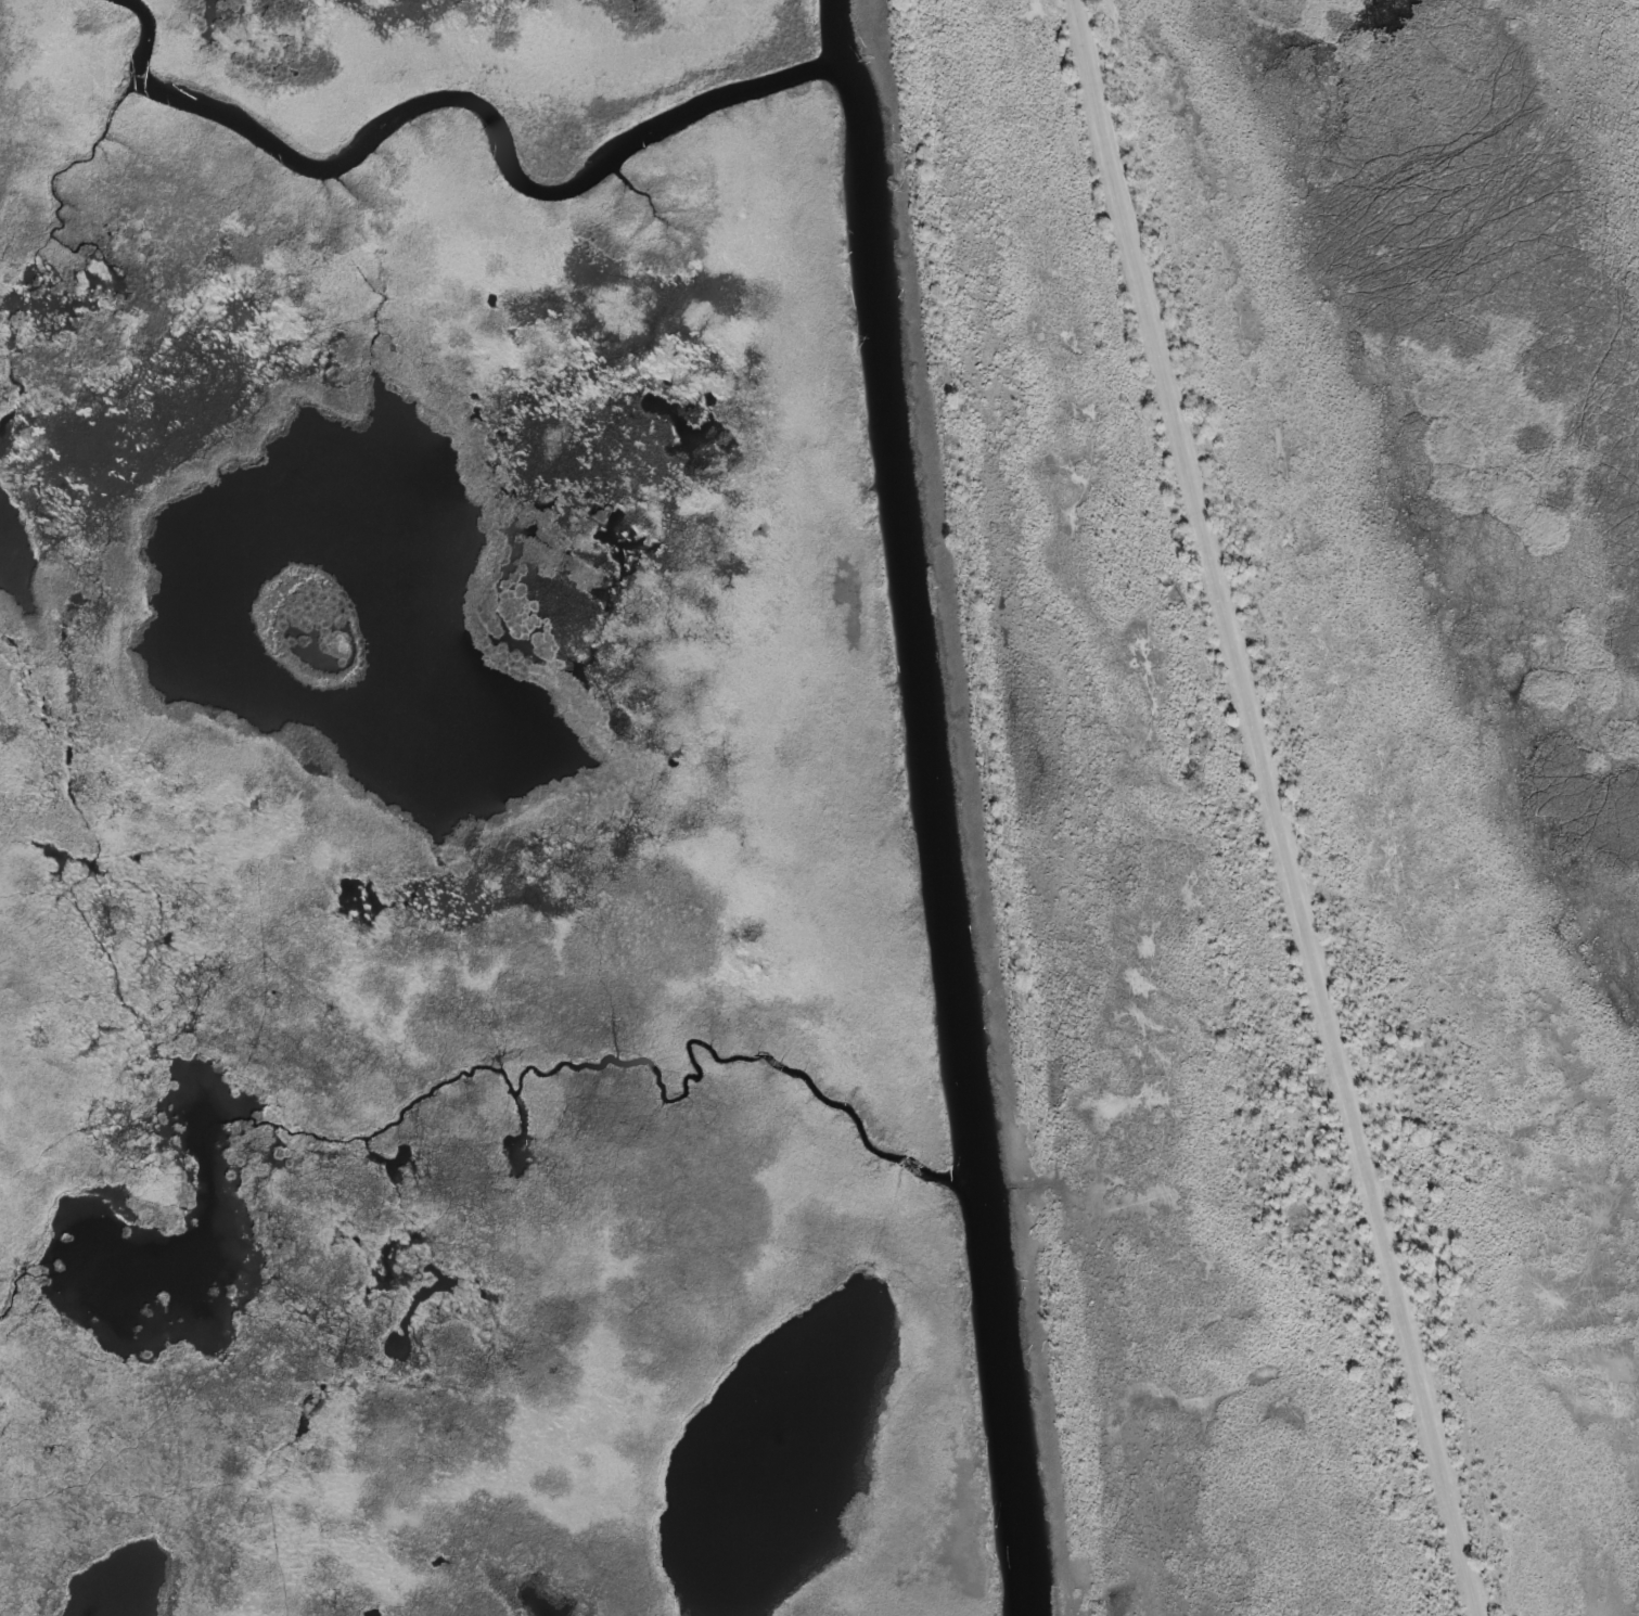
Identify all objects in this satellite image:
road: (1276, 808)

